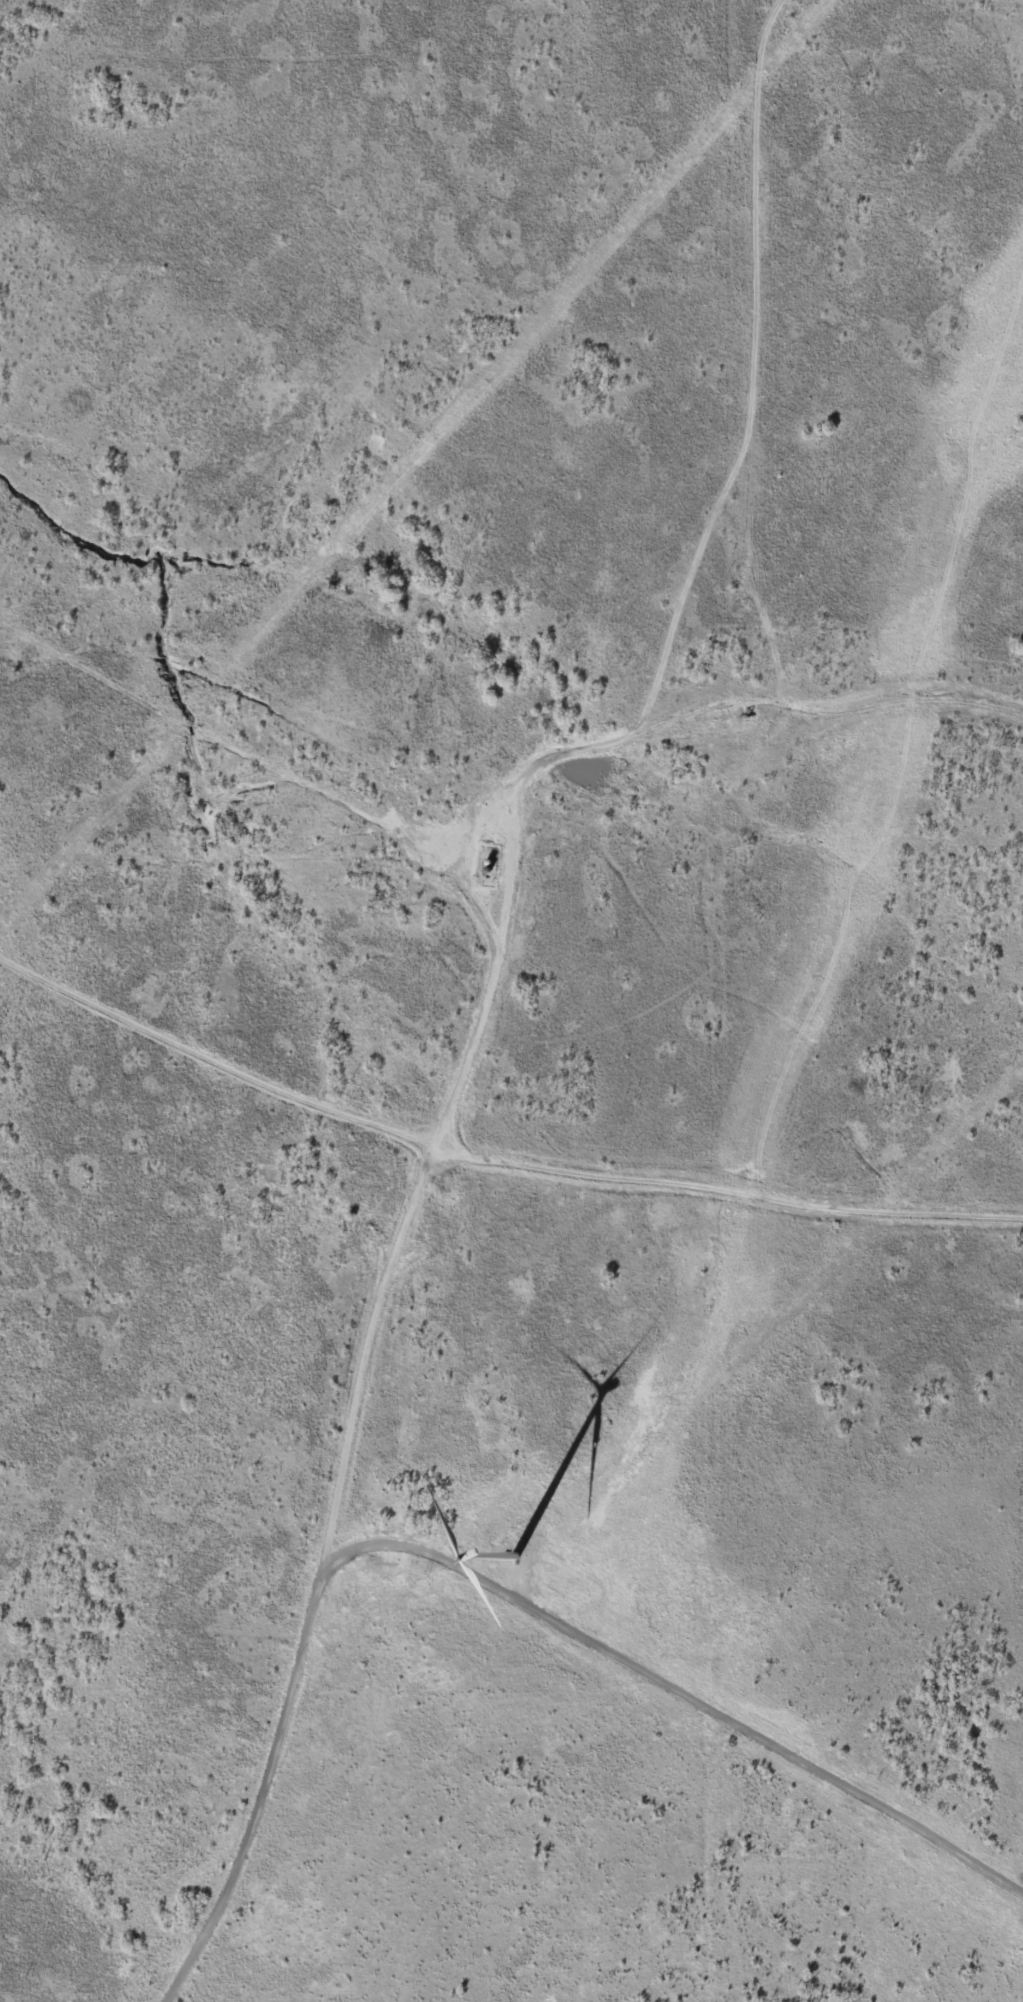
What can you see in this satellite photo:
road: (770, 488)
road: (257, 722)
road: (495, 1159)
road: (363, 1410)
wind turbine: (527, 1562)
road: (672, 1677)

